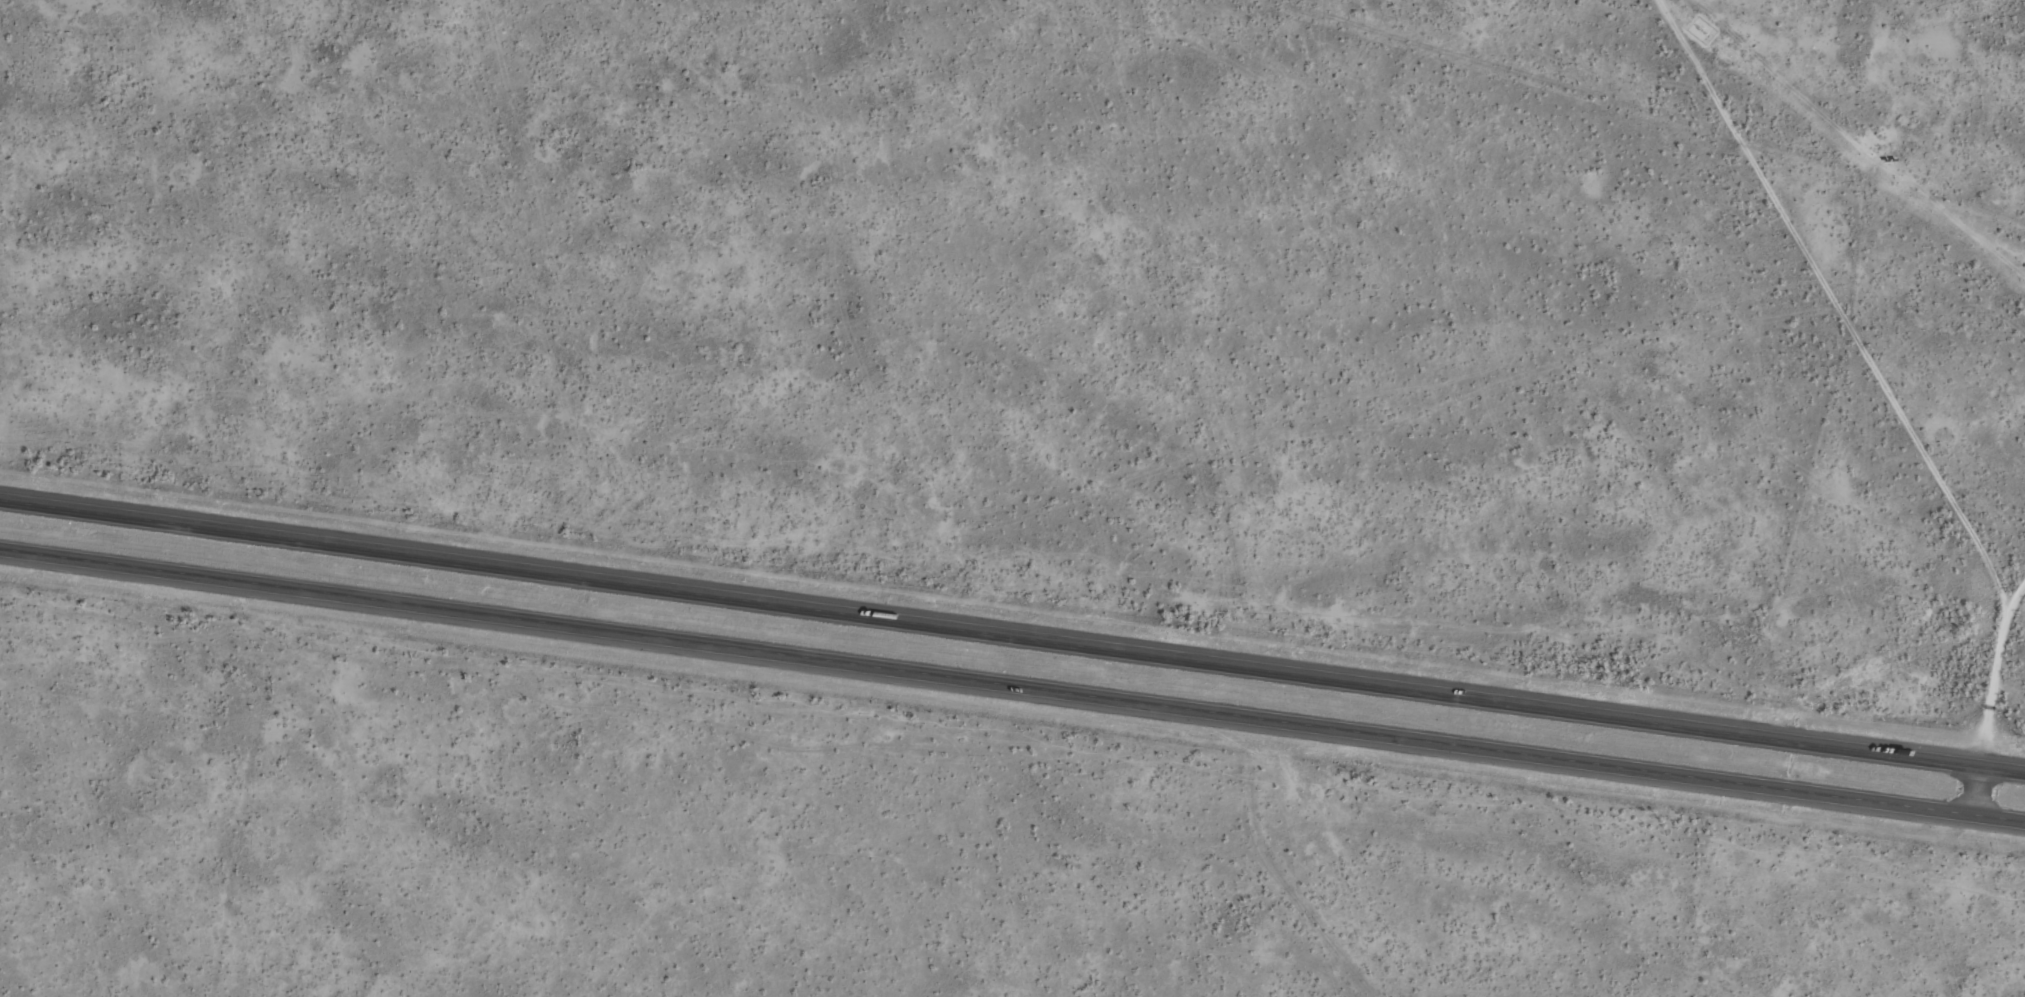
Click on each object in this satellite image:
road: (1012, 638)
road: (1012, 687)
road: (1977, 793)

